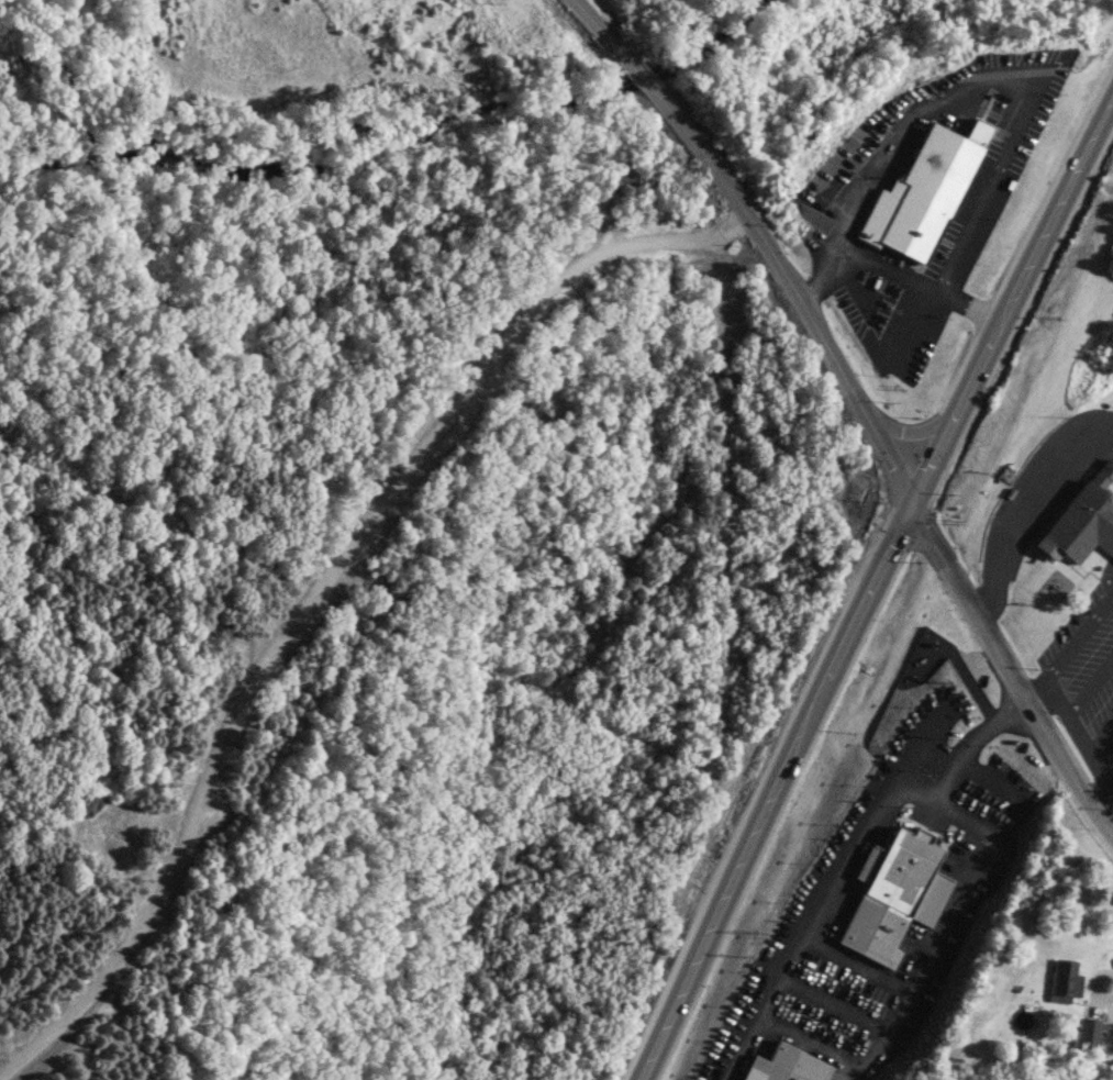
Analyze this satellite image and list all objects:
road: (628, 66)
building: (921, 196)
road: (893, 274)
road: (805, 315)
road: (910, 432)
road: (1019, 502)
traffic signals: (914, 506)
building: (1083, 517)
road: (872, 587)
road: (1069, 648)
road: (1009, 675)
road: (973, 742)
road: (1082, 746)
building: (895, 894)
road: (814, 908)
road: (950, 929)
road: (856, 962)
building: (1064, 981)
road: (1092, 984)
road: (833, 1002)
building: (1087, 1034)
road: (812, 1042)
building: (787, 1066)

